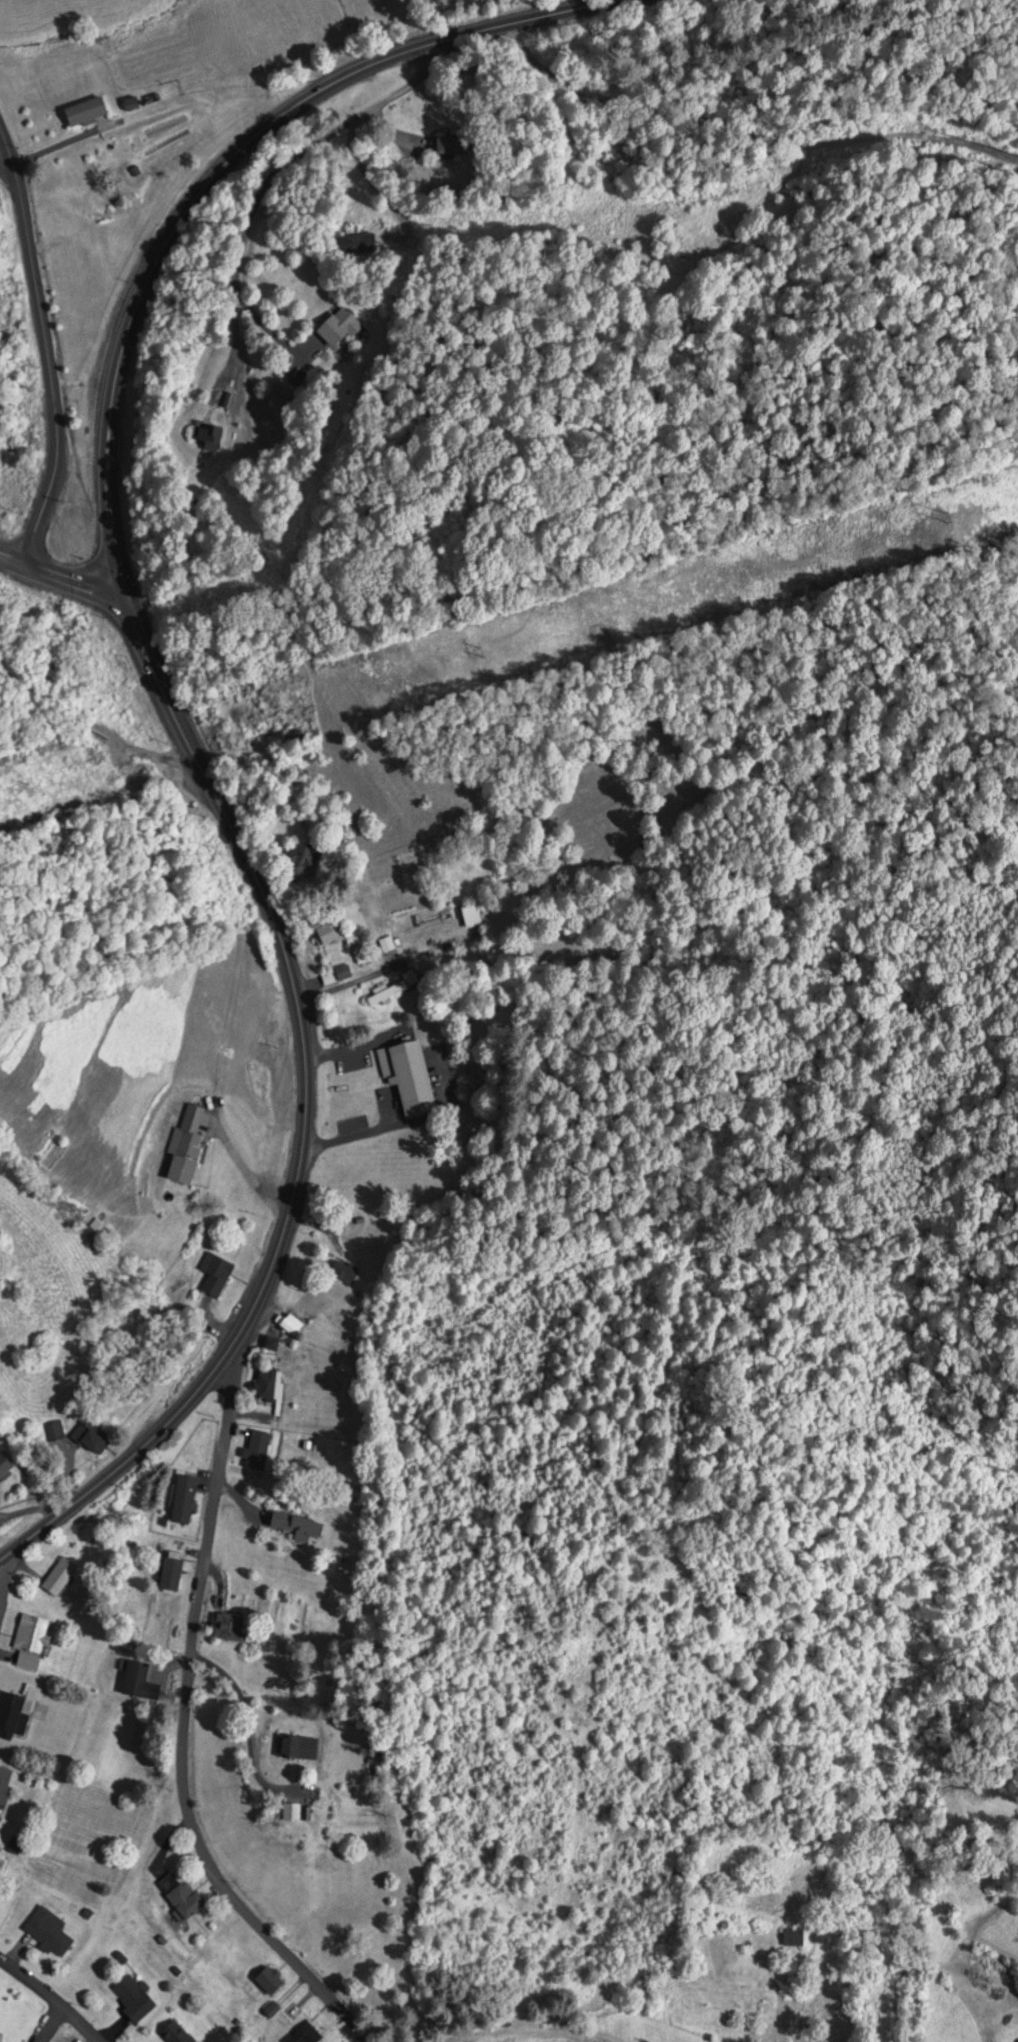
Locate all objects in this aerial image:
building: (129, 103)
building: (84, 110)
road: (4, 155)
road: (275, 174)
road: (49, 394)
road: (14, 558)
power tower: (479, 651)
road: (163, 708)
building: (299, 858)
building: (470, 915)
building: (325, 930)
building: (335, 975)
building: (393, 989)
building: (410, 1078)
building: (186, 1146)
building: (342, 1273)
building: (214, 1274)
building: (290, 1324)
building: (265, 1385)
building: (53, 1430)
building: (93, 1441)
building: (255, 1450)
building: (4, 1463)
building: (181, 1507)
building: (295, 1524)
road: (2, 1571)
building: (169, 1573)
building: (58, 1576)
building: (230, 1626)
building: (30, 1640)
building: (138, 1682)
building: (11, 1716)
road: (179, 1736)
building: (287, 1747)
building: (2, 1779)
building: (290, 1812)
building: (178, 1894)
building: (47, 1931)
building: (792, 1936)
building: (267, 1979)
road: (51, 1996)
building: (131, 1997)
road: (47, 2022)
building: (174, 2033)
building: (0, 2039)

